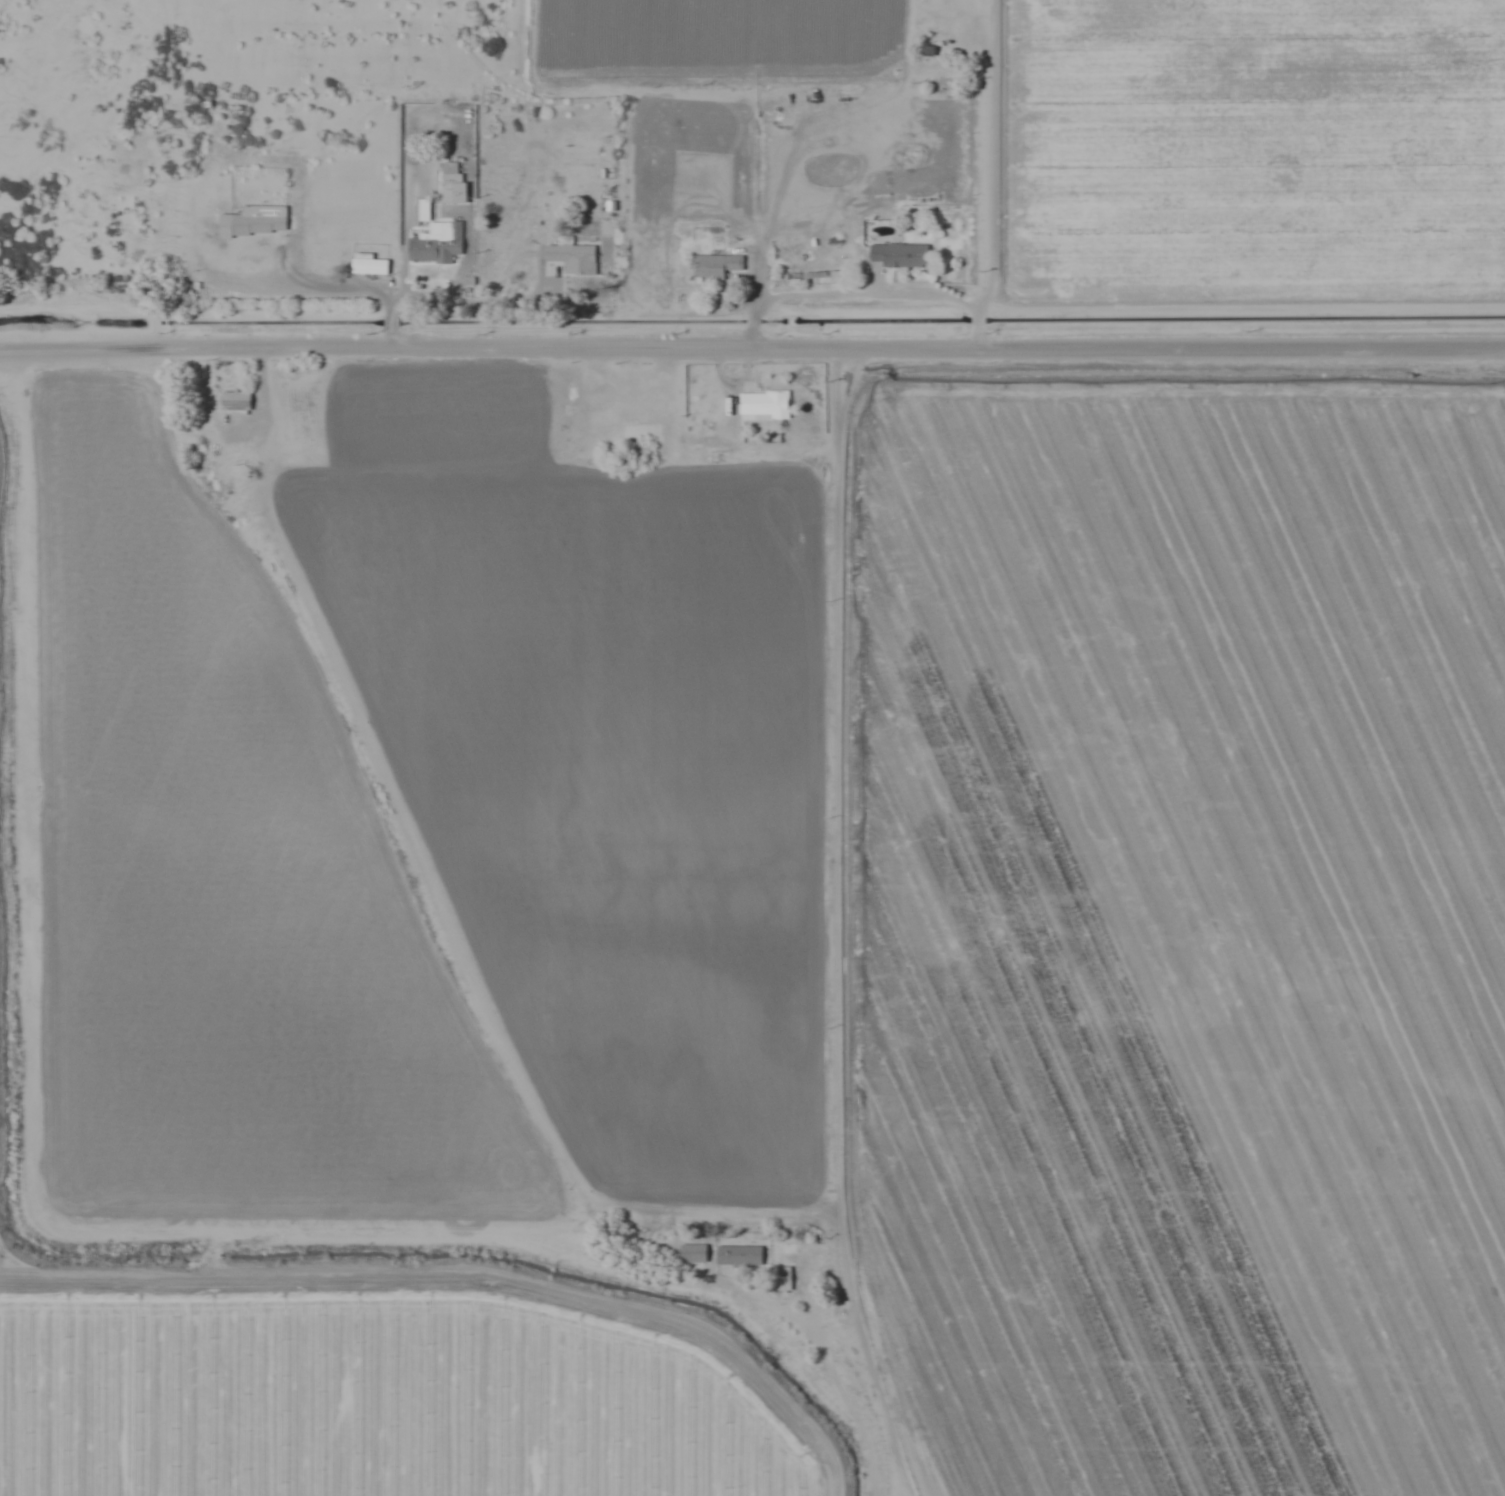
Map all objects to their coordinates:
crop: (716, 35)
crop: (1249, 151)
building: (452, 183)
building: (253, 220)
building: (437, 243)
building: (901, 255)
building: (573, 258)
building: (368, 264)
building: (716, 265)
building: (816, 278)
road: (752, 351)
building: (235, 402)
building: (763, 405)
crop: (439, 413)
crop: (608, 782)
crop: (221, 888)
crop: (1178, 927)
building: (693, 1252)
building: (738, 1255)
building: (779, 1278)
crop: (371, 1396)

